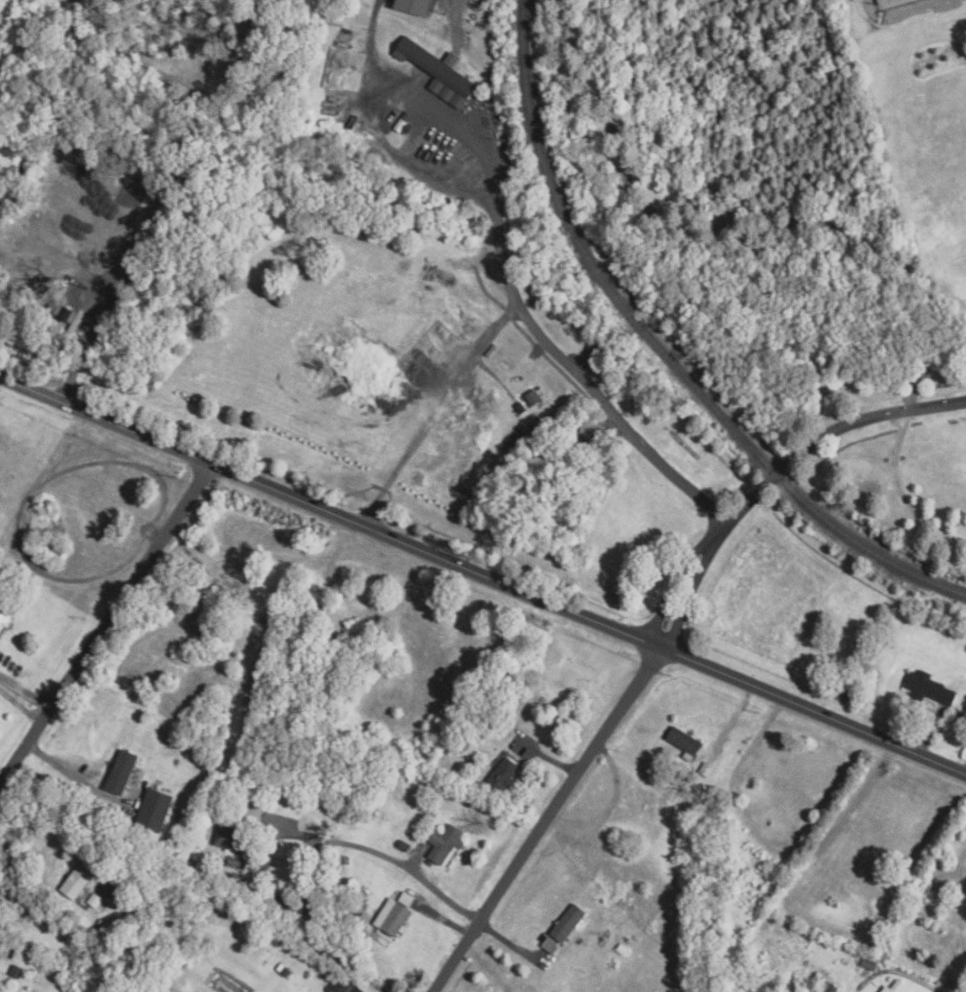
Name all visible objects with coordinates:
park: (891, 3)
building: (418, 6)
road: (906, 19)
building: (437, 69)
road: (500, 225)
road: (826, 230)
park: (595, 300)
railway: (664, 352)
road: (436, 411)
road: (820, 437)
road: (482, 573)
road: (671, 587)
road: (688, 596)
building: (5, 614)
road: (106, 621)
building: (929, 687)
road: (19, 706)
building: (684, 742)
building: (121, 772)
road: (69, 774)
building: (502, 774)
building: (153, 810)
road: (547, 819)
building: (231, 838)
building: (444, 843)
road: (381, 853)
road: (312, 870)
building: (75, 883)
building: (392, 917)
building: (567, 924)
building: (550, 945)
road: (895, 972)
building: (825, 987)
building: (898, 988)
building: (885, 990)

